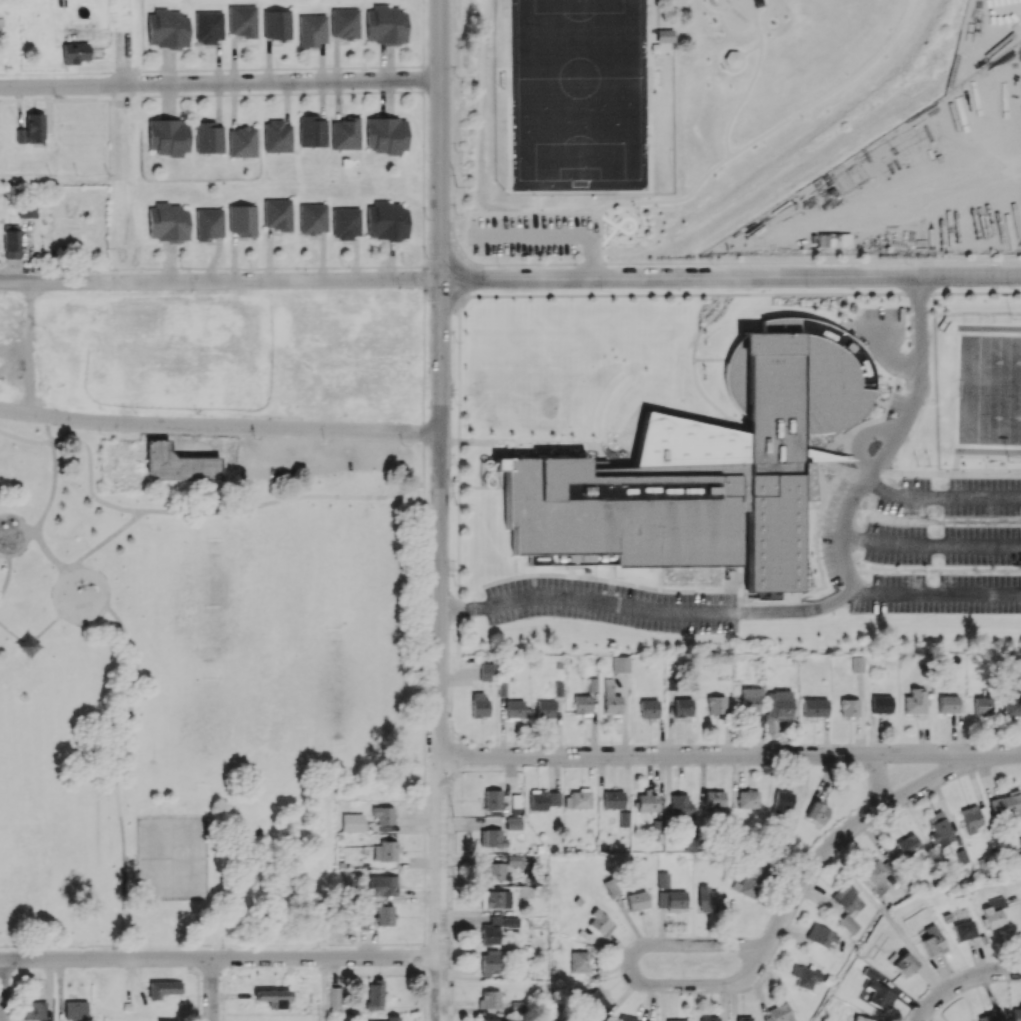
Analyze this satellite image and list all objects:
building: (242, 20)
building: (277, 23)
building: (344, 23)
building: (385, 24)
building: (208, 26)
building: (167, 28)
building: (312, 30)
building: (74, 52)
park: (782, 57)
road: (121, 69)
road: (220, 83)
park: (666, 117)
building: (31, 129)
building: (312, 131)
building: (345, 133)
building: (386, 135)
building: (168, 136)
building: (277, 136)
building: (208, 137)
road: (441, 140)
building: (242, 142)
road: (56, 181)
building: (27, 208)
building: (277, 214)
building: (312, 218)
building: (243, 220)
building: (387, 220)
building: (168, 222)
building: (345, 223)
building: (209, 224)
road: (555, 232)
parking lot: (533, 234)
building: (11, 244)
road: (731, 278)
road: (220, 281)
park: (56, 347)
road: (886, 354)
road: (916, 386)
park: (989, 389)
road: (219, 425)
road: (25, 438)
road: (518, 442)
road: (422, 456)
building: (177, 464)
building: (735, 473)
road: (89, 474)
road: (48, 498)
road: (237, 506)
road: (30, 529)
road: (26, 533)
road: (842, 539)
road: (931, 543)
road: (5, 572)
road: (59, 575)
park: (253, 597)
road: (648, 607)
road: (31, 637)
road: (440, 651)
building: (620, 663)
building: (857, 663)
building: (486, 671)
building: (592, 684)
park: (192, 695)
building: (610, 698)
building: (915, 701)
building: (749, 702)
building: (778, 703)
building: (479, 704)
building: (582, 704)
building: (715, 704)
building: (881, 704)
building: (948, 704)
building: (982, 706)
building: (1012, 706)
building: (682, 707)
building: (814, 707)
building: (849, 707)
building: (514, 708)
building: (545, 708)
building: (649, 708)
road: (422, 717)
road: (730, 754)
road: (114, 768)
road: (879, 777)
road: (431, 781)
building: (748, 798)
building: (492, 799)
building: (543, 799)
building: (577, 799)
building: (613, 799)
building: (714, 799)
building: (646, 801)
building: (783, 801)
building: (1006, 805)
building: (682, 807)
building: (817, 812)
building: (383, 814)
building: (624, 818)
building: (970, 818)
building: (352, 822)
building: (513, 823)
building: (941, 831)
building: (492, 837)
building: (1020, 840)
building: (690, 844)
building: (908, 844)
building: (385, 851)
park: (187, 856)
park: (152, 857)
road: (129, 858)
building: (493, 871)
building: (875, 871)
building: (752, 878)
building: (663, 879)
building: (383, 885)
building: (610, 886)
building: (496, 898)
building: (707, 898)
building: (846, 898)
building: (671, 899)
building: (637, 900)
building: (993, 913)
building: (384, 915)
building: (365, 920)
building: (600, 923)
building: (849, 923)
building: (496, 928)
building: (963, 930)
building: (822, 937)
building: (932, 940)
road: (211, 943)
road: (187, 951)
road: (762, 955)
road: (220, 957)
building: (579, 961)
building: (490, 962)
building: (904, 962)
building: (805, 976)
road: (962, 981)
building: (163, 989)
road: (211, 989)
road: (323, 989)
road: (2, 990)
building: (876, 990)
building: (375, 994)
building: (273, 997)
building: (334, 998)
building: (492, 998)
building: (595, 1002)
building: (76, 1009)
building: (34, 1010)
building: (991, 1016)
building: (389, 1018)
building: (708, 1018)
building: (630, 1019)
building: (863, 1019)
building: (496, 1020)
building: (677, 1020)
building: (744, 1020)

